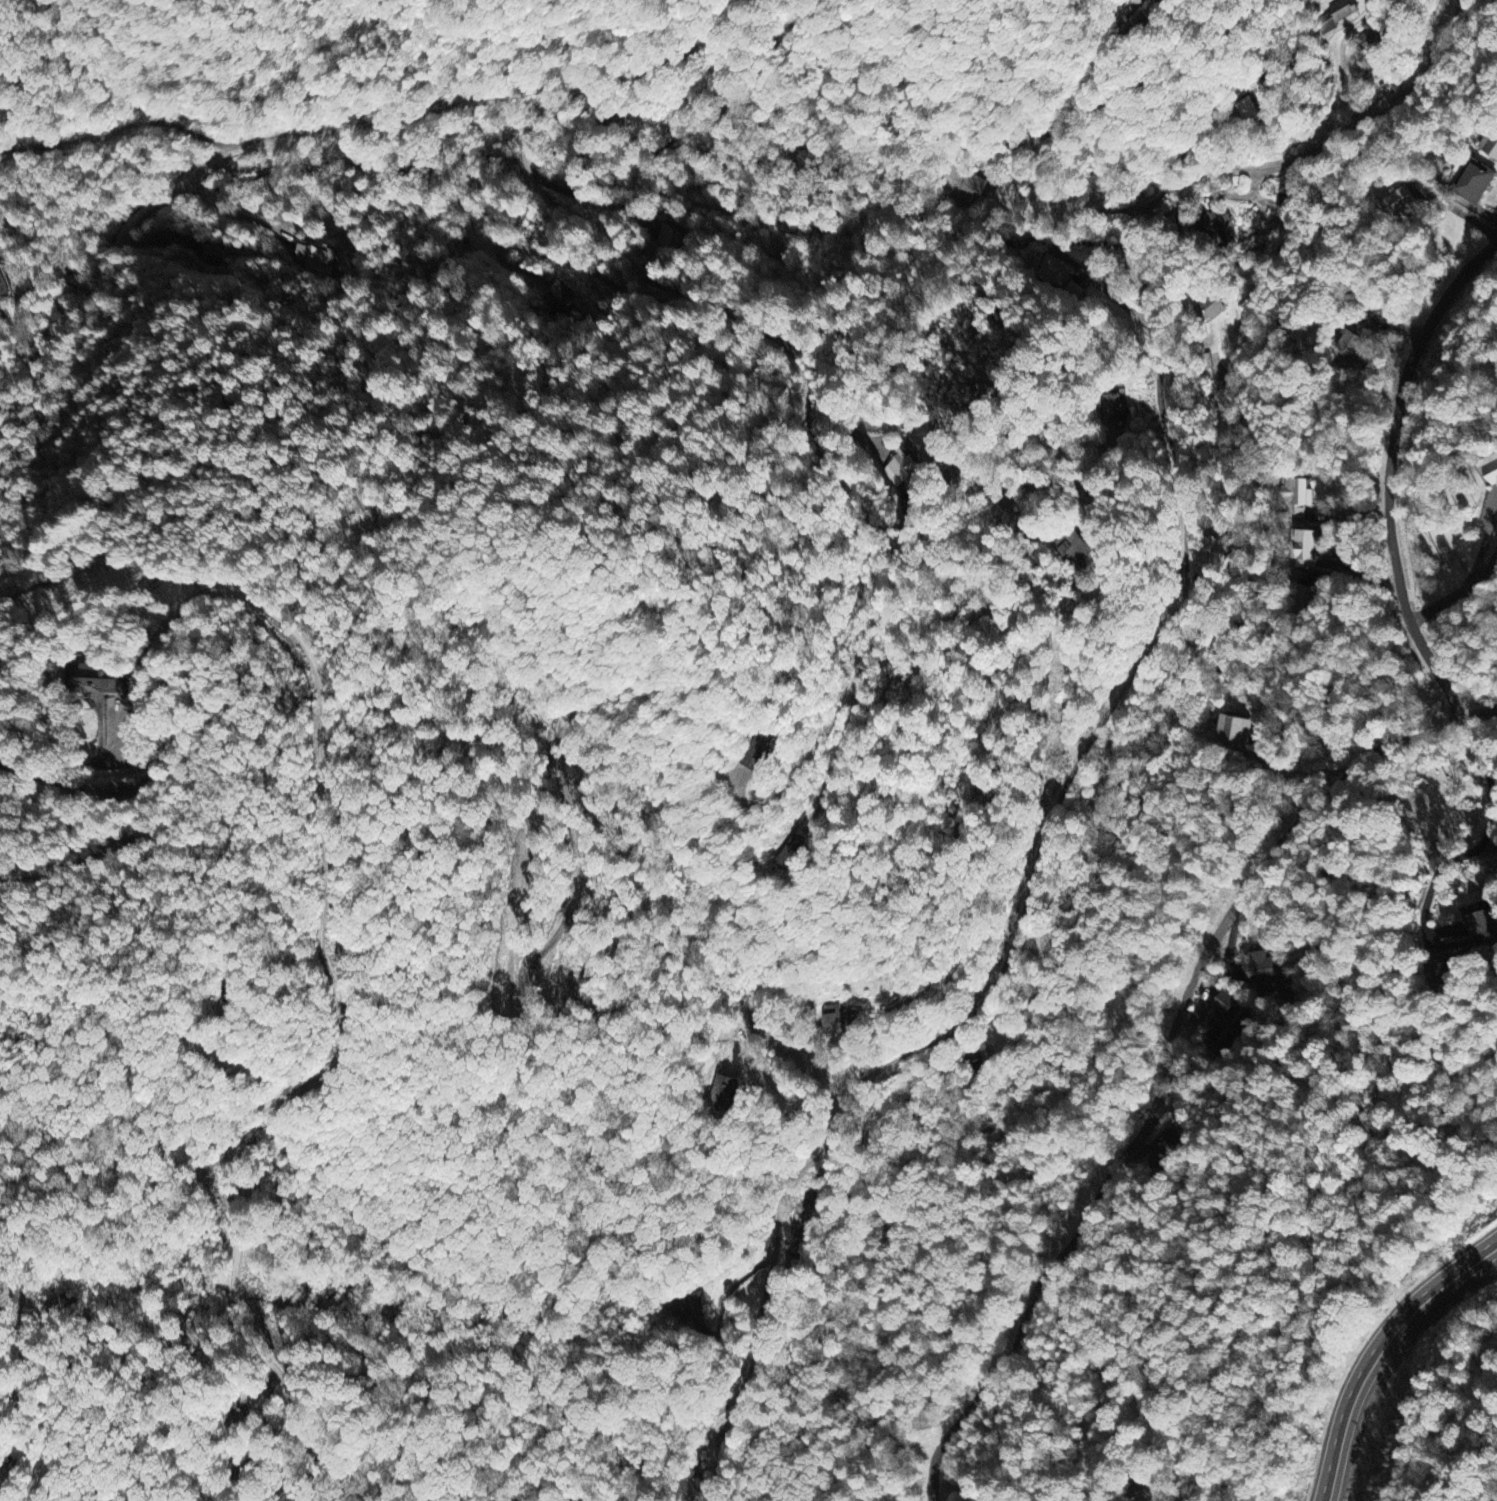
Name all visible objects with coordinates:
building: (1339, 13)
road: (682, 54)
building: (1249, 112)
road: (300, 133)
road: (1040, 137)
building: (1490, 146)
building: (1475, 182)
building: (969, 185)
building: (1220, 227)
building: (315, 256)
building: (1054, 270)
building: (5, 284)
building: (563, 297)
building: (1210, 308)
road: (732, 314)
building: (1351, 344)
building: (1115, 409)
building: (1491, 470)
building: (898, 473)
road: (1388, 473)
building: (1301, 496)
road: (322, 532)
building: (1310, 545)
building: (1074, 548)
road: (1457, 594)
building: (101, 678)
road: (1105, 715)
road: (1480, 715)
building: (1236, 731)
building: (761, 751)
road: (80, 786)
building: (795, 852)
road: (121, 866)
building: (1483, 928)
road: (319, 944)
building: (1264, 969)
building: (833, 1020)
road: (1164, 1077)
building: (726, 1089)
building: (690, 1307)
road: (1383, 1356)
road: (52, 1447)

